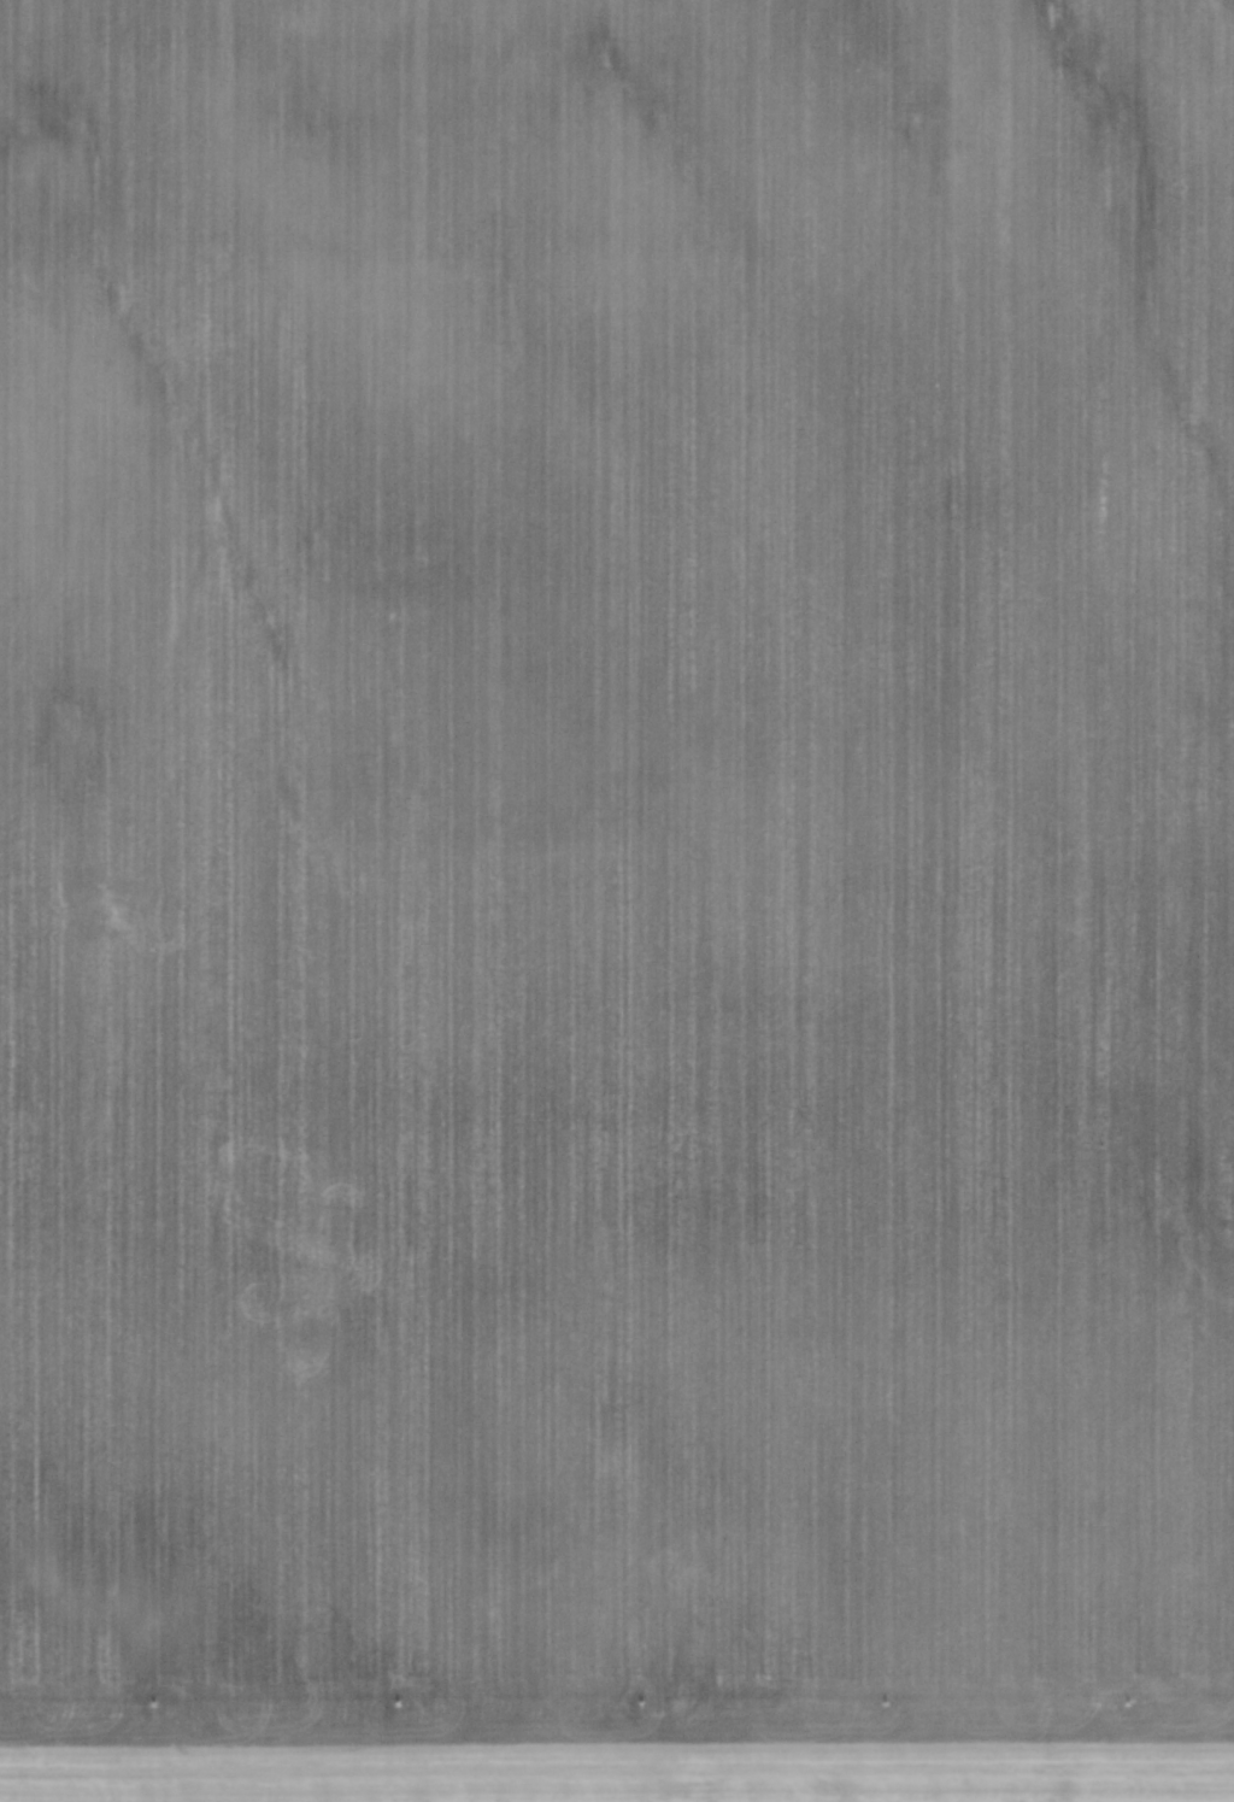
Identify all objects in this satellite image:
crop: (617, 900)

